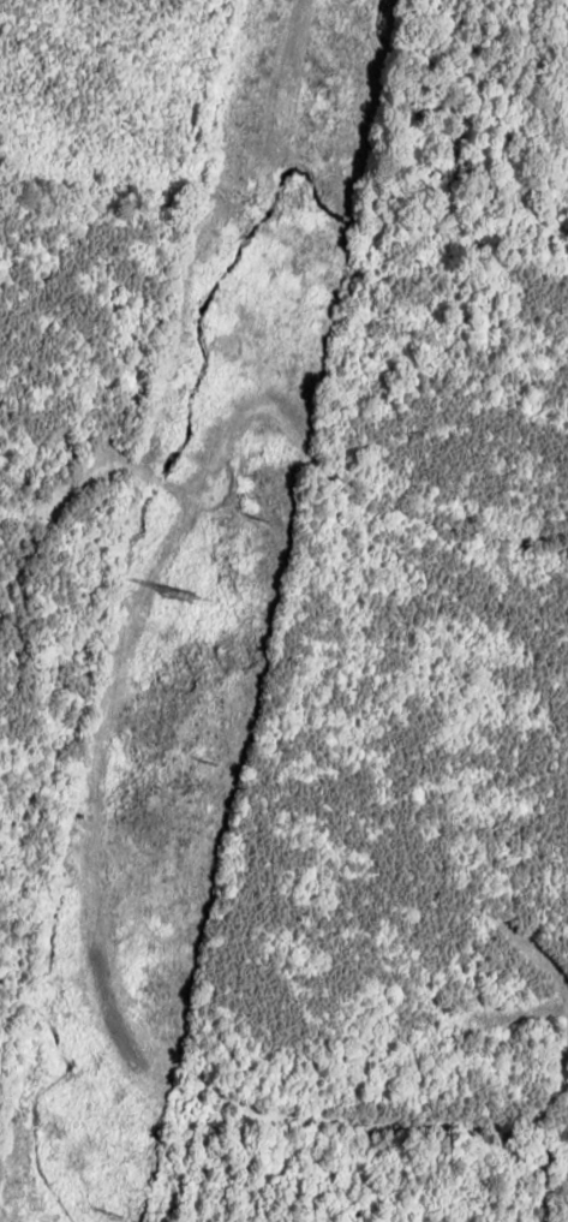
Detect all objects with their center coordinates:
power tower: (171, 598)

